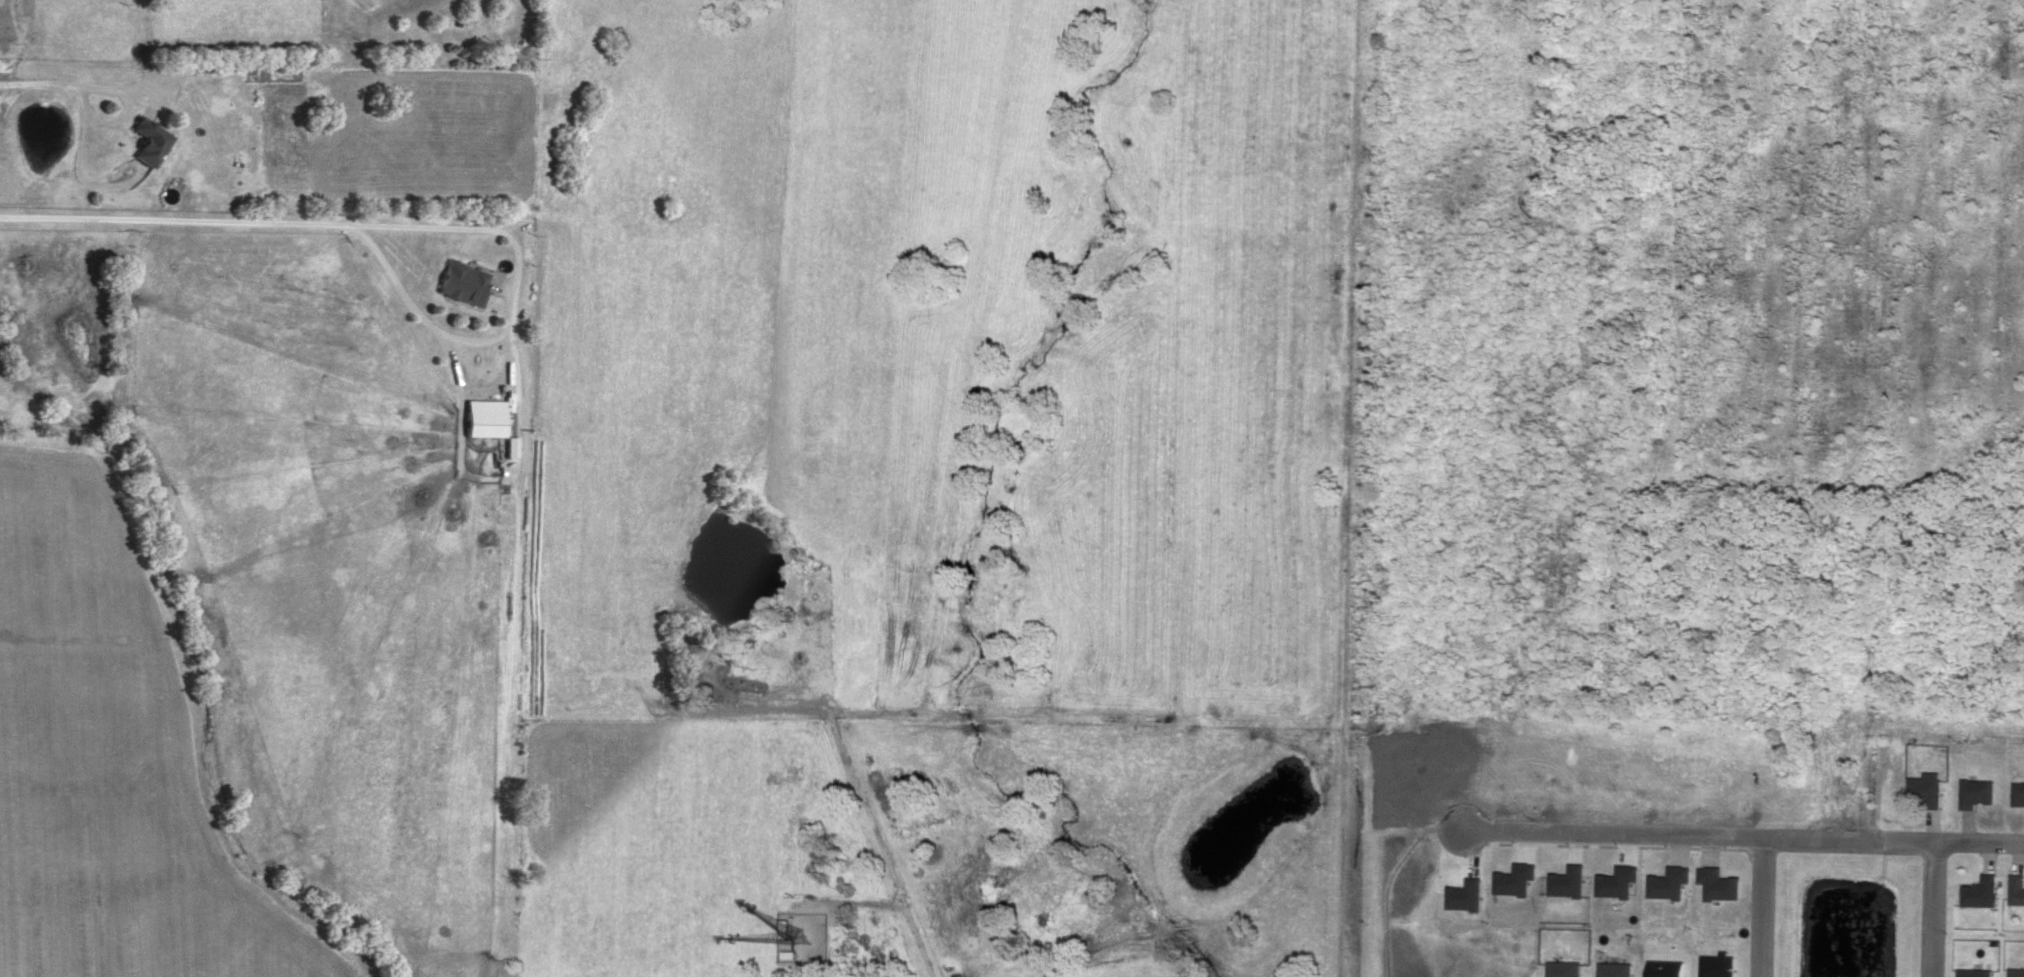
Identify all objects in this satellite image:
road: (38, 82)
road: (122, 114)
building: (150, 139)
road: (169, 220)
building: (464, 282)
road: (508, 310)
building: (486, 416)
building: (511, 445)
railway: (1347, 488)
road: (696, 716)
building: (1928, 788)
building: (1978, 791)
building: (2019, 793)
road: (1611, 835)
road: (1849, 840)
road: (1979, 842)
road: (875, 846)
building: (1517, 877)
building: (1569, 879)
building: (1619, 880)
building: (1671, 881)
building: (1720, 882)
building: (2017, 887)
building: (1982, 890)
building: (1467, 893)
road: (853, 901)
road: (1762, 908)
road: (1932, 909)
building: (784, 928)
building: (789, 953)
building: (1720, 964)
building: (1566, 968)
building: (1617, 968)
building: (1669, 968)
building: (2016, 971)
building: (1975, 972)

